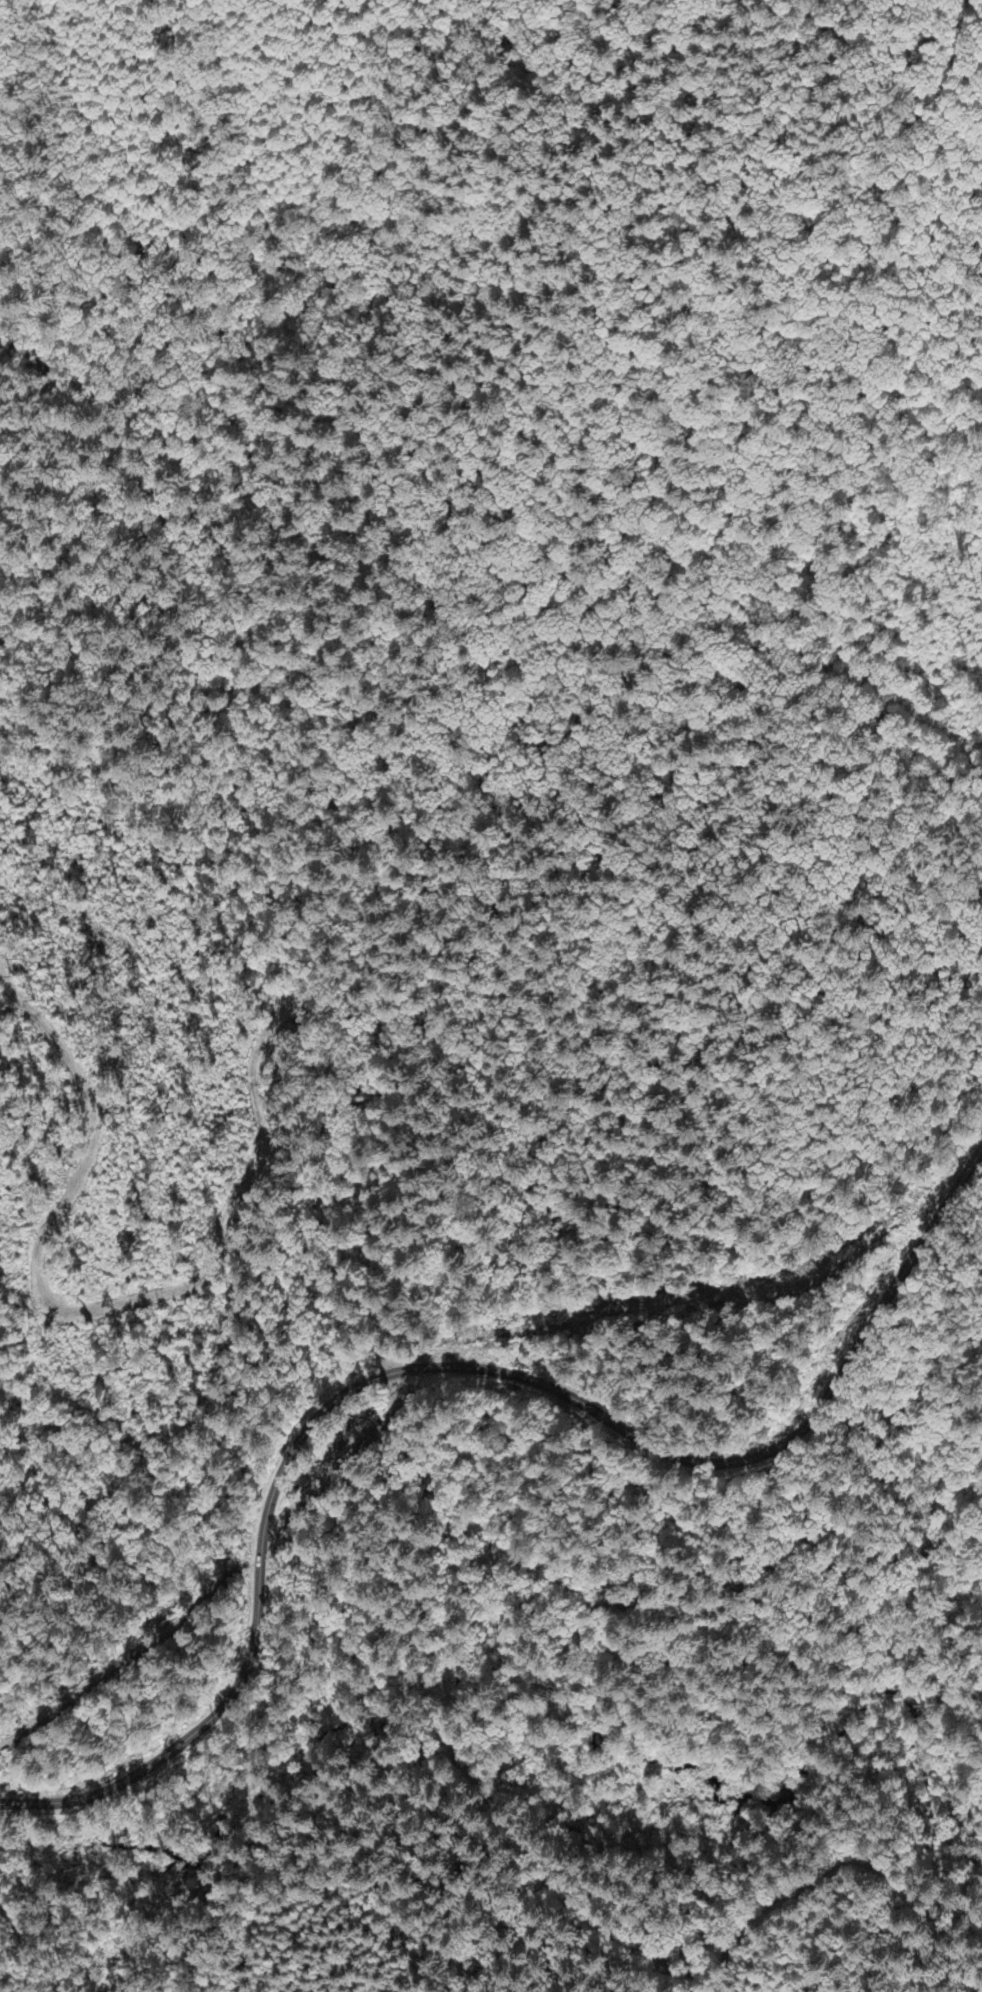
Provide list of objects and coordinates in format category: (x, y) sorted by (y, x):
road: (166, 1285)
road: (457, 1364)
road: (464, 1621)

